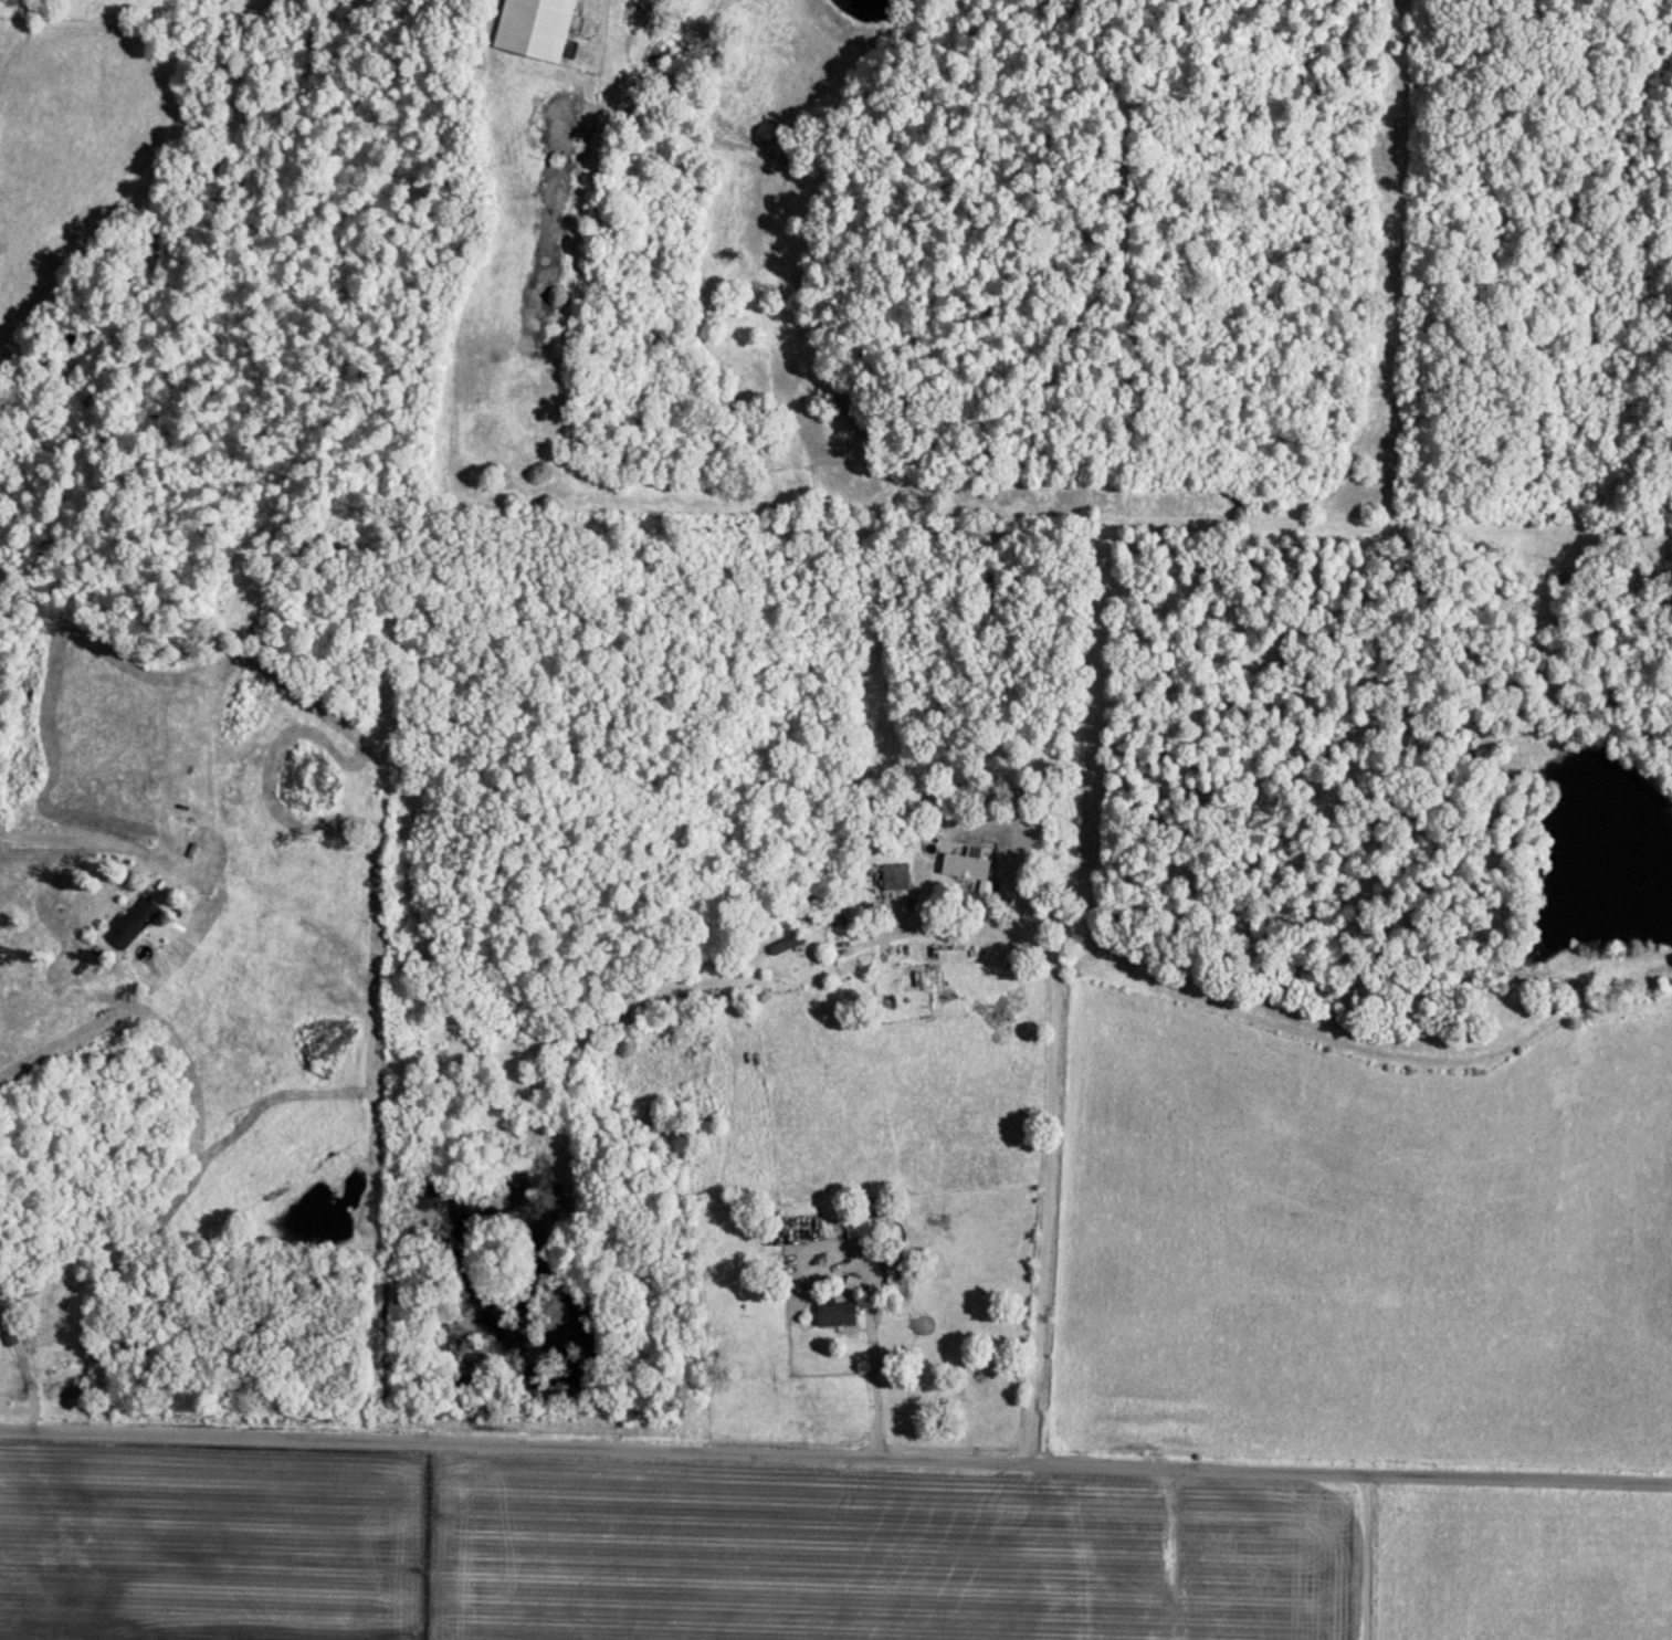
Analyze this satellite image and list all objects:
building: (530, 29)
road: (84, 841)
building: (963, 869)
road: (1048, 1142)
building: (855, 1231)
building: (888, 1283)
building: (25, 1289)
building: (832, 1314)
road: (871, 1354)
road: (835, 1458)
road: (1364, 1558)

